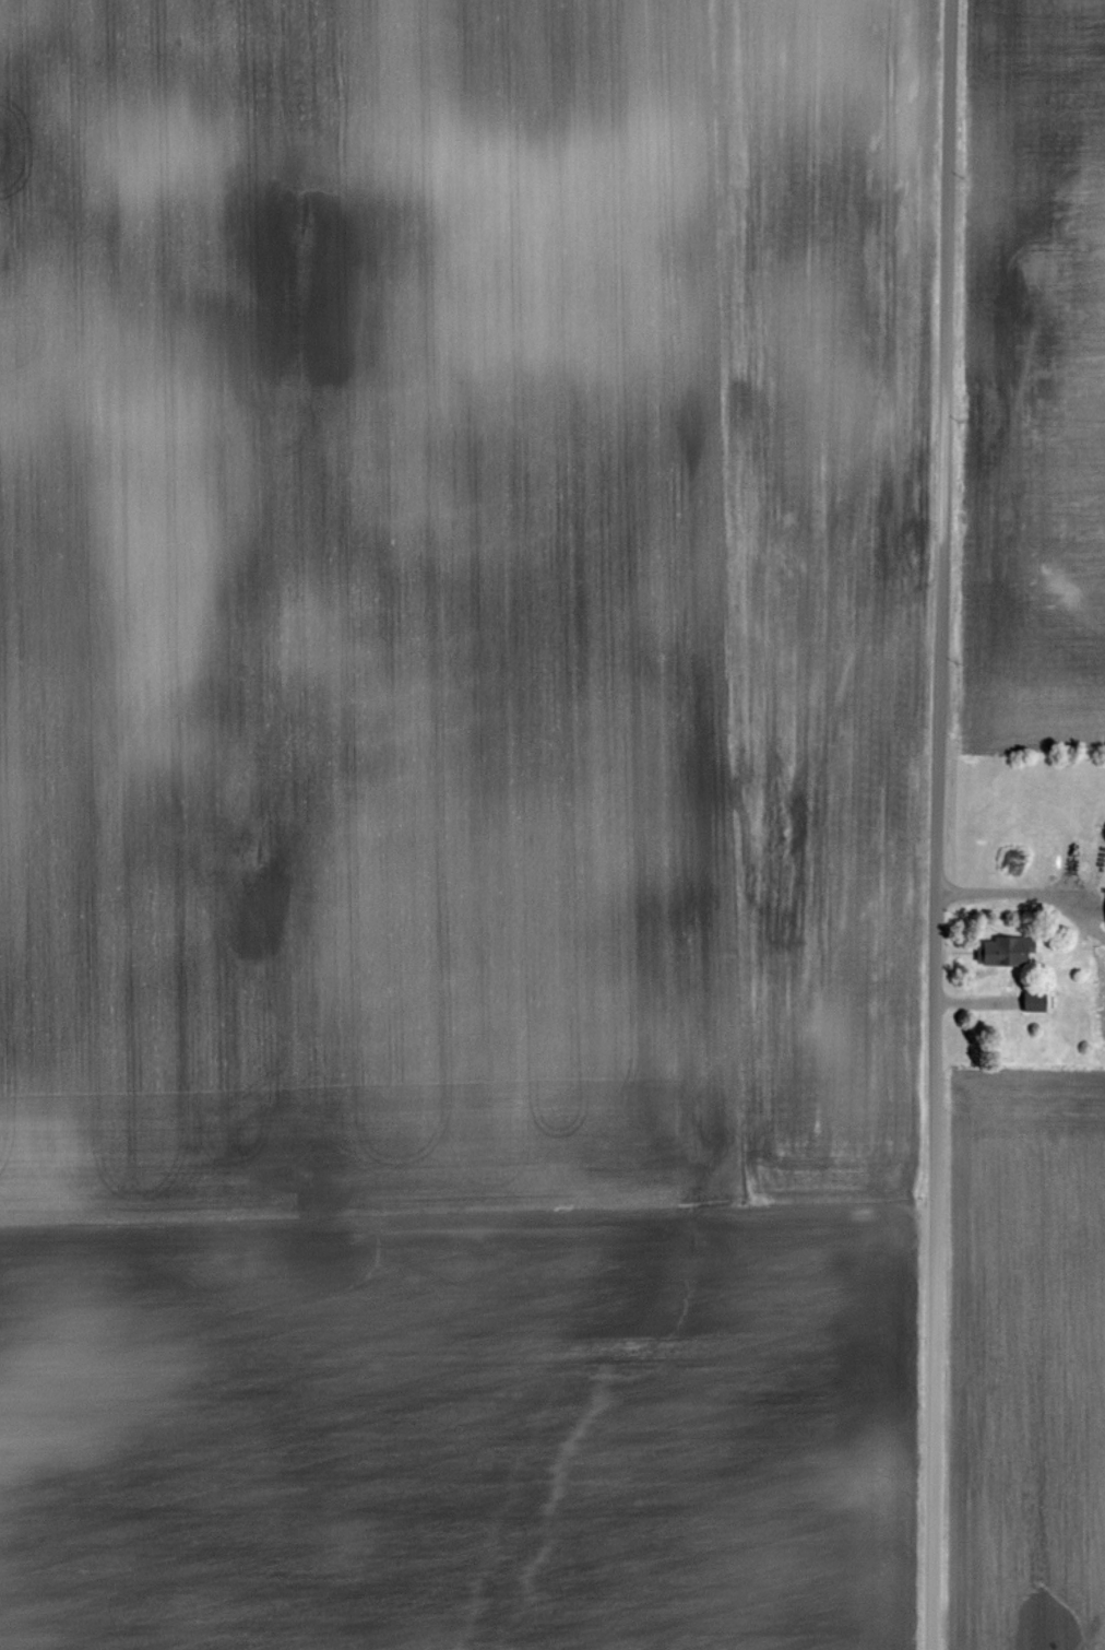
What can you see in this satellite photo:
crop: (461, 821)
road: (940, 824)
road: (1010, 896)
building: (1104, 915)

